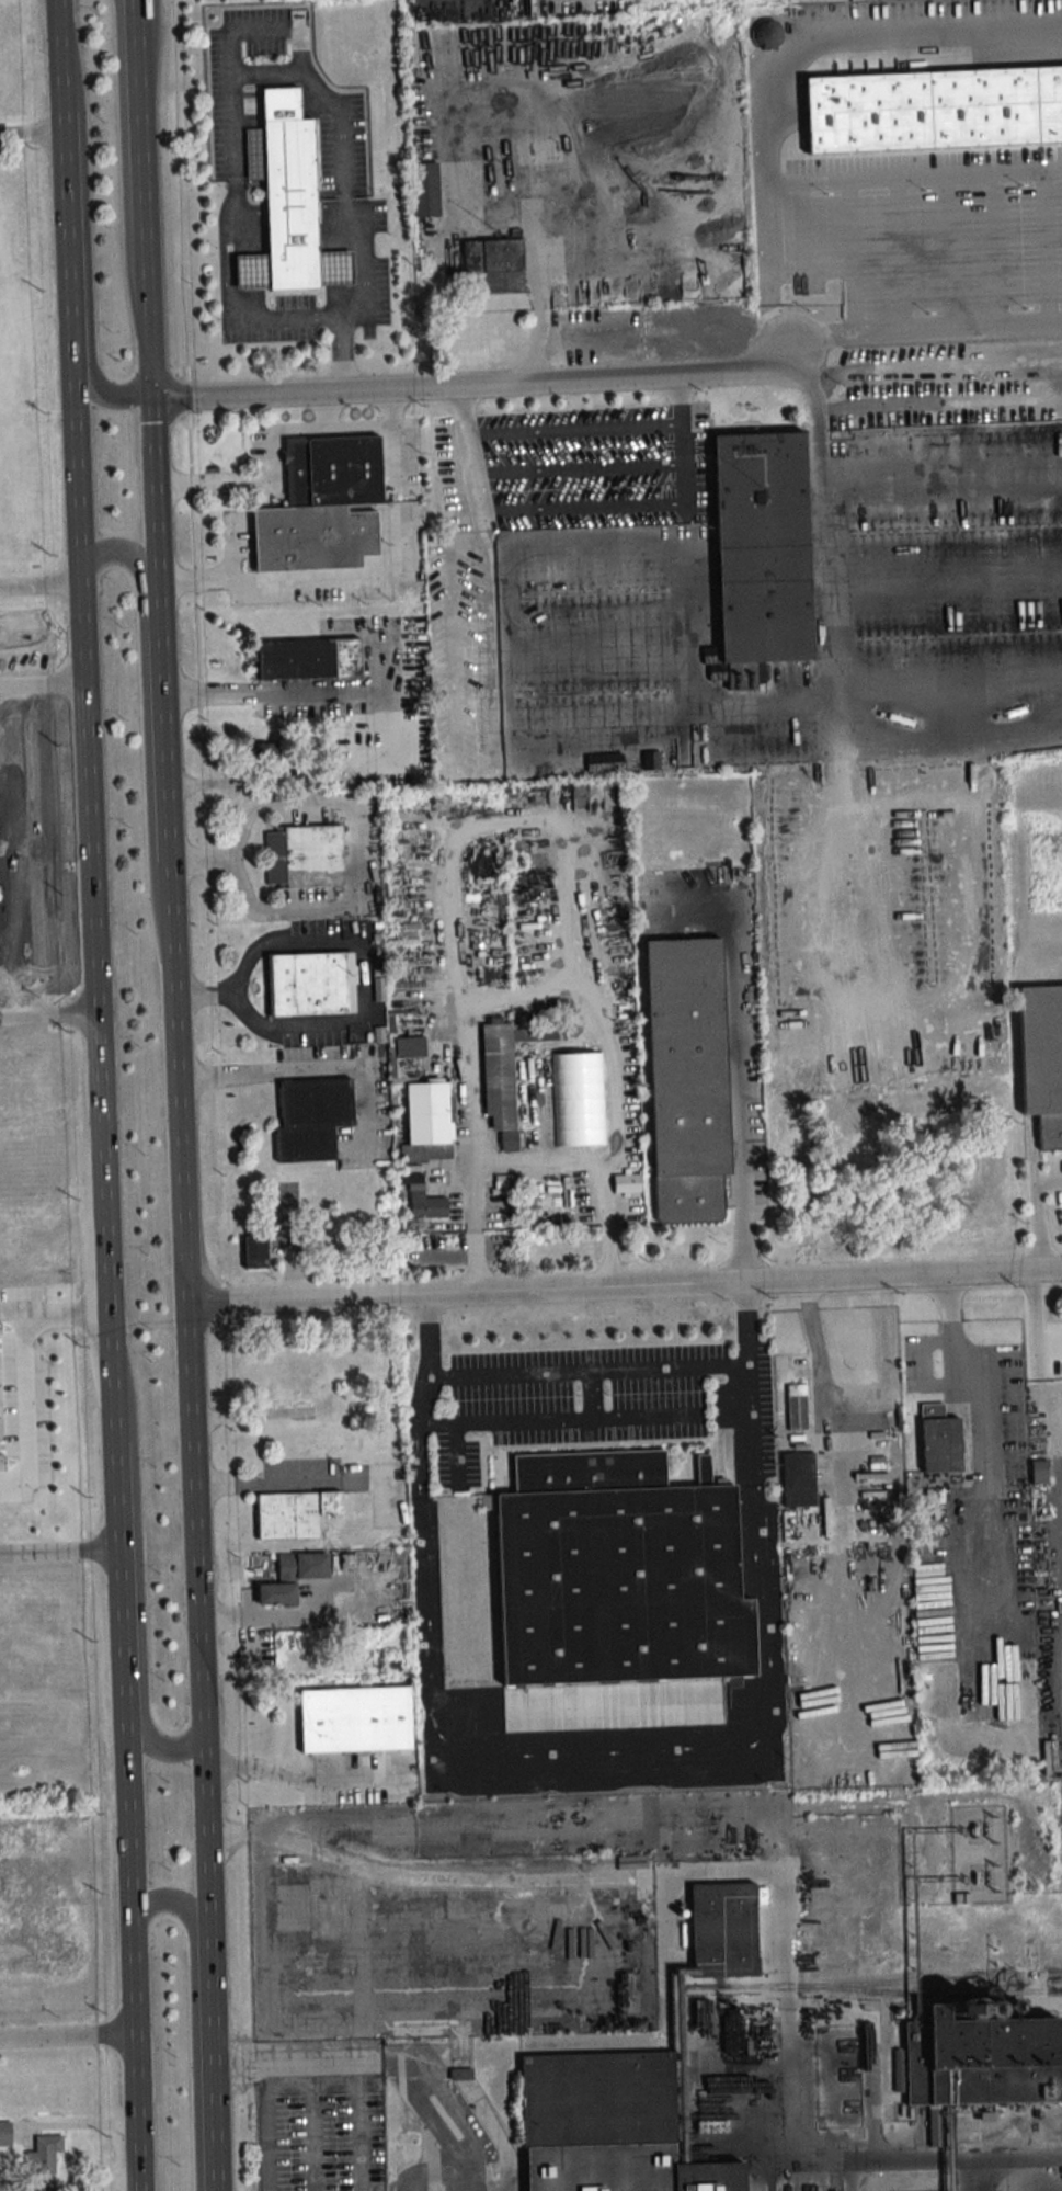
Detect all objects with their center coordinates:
road: (136, 16)
building: (766, 34)
road: (924, 35)
road: (230, 87)
building: (933, 110)
road: (31, 134)
road: (342, 136)
road: (124, 151)
road: (913, 175)
building: (424, 190)
road: (289, 207)
building: (294, 212)
road: (87, 227)
building: (491, 257)
road: (767, 273)
road: (361, 303)
road: (547, 307)
road: (237, 313)
road: (958, 325)
road: (461, 378)
road: (326, 407)
road: (270, 430)
road: (682, 435)
building: (321, 507)
road: (584, 508)
building: (762, 547)
road: (245, 579)
road: (38, 583)
building: (308, 659)
road: (145, 660)
road: (42, 680)
road: (279, 692)
road: (705, 702)
building: (641, 758)
road: (362, 850)
road: (201, 856)
building: (302, 856)
building: (310, 985)
road: (526, 986)
road: (363, 997)
building: (835, 1004)
road: (48, 1012)
road: (739, 1023)
building: (408, 1047)
road: (310, 1066)
building: (1041, 1067)
building: (504, 1076)
building: (686, 1079)
road: (100, 1094)
road: (178, 1111)
building: (427, 1114)
building: (310, 1119)
road: (537, 1158)
building: (626, 1183)
building: (981, 1193)
building: (422, 1200)
road: (745, 1211)
road: (1036, 1212)
building: (992, 1217)
building: (254, 1253)
road: (903, 1276)
road: (464, 1294)
road: (15, 1303)
road: (67, 1314)
road: (818, 1351)
road: (586, 1370)
road: (746, 1382)
road: (424, 1386)
building: (3, 1392)
building: (792, 1408)
road: (28, 1411)
building: (0, 1412)
road: (583, 1419)
building: (939, 1440)
building: (1038, 1472)
building: (798, 1479)
road: (286, 1480)
building: (294, 1513)
road: (59, 1555)
building: (301, 1565)
building: (618, 1571)
building: (276, 1593)
road: (281, 1615)
road: (141, 1671)
building: (354, 1719)
road: (589, 1750)
road: (301, 1780)
power substation: (978, 1852)
road: (579, 1881)
building: (722, 1929)
railway: (938, 1975)
railway: (872, 1988)
road: (195, 2017)
road: (869, 2040)
road: (67, 2042)
road: (344, 2059)
building: (978, 2064)
road: (311, 2124)
road: (270, 2125)
building: (607, 2126)
building: (4, 2133)
building: (43, 2155)
road: (889, 2159)
building: (11, 2186)
building: (48, 2190)
building: (884, 2190)

